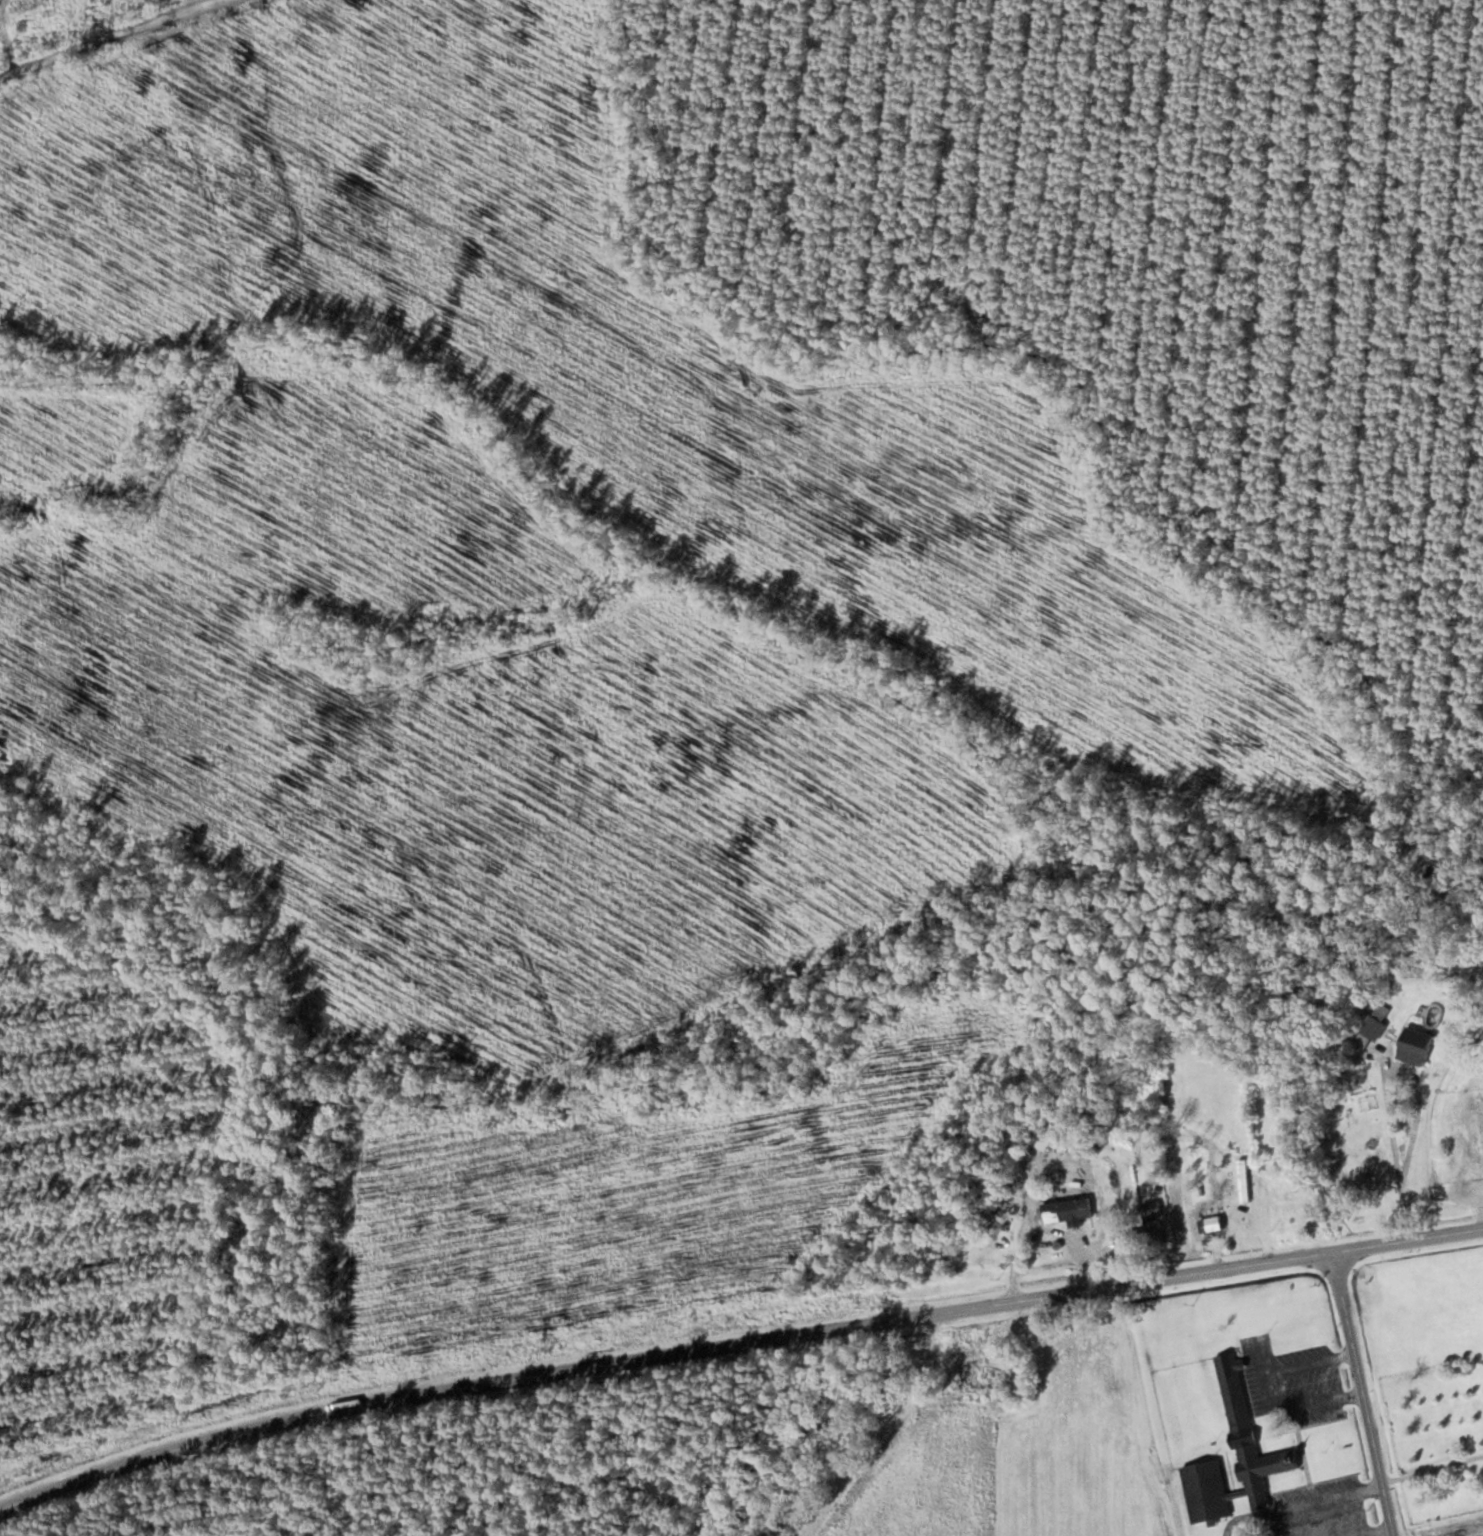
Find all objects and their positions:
road: (113, 39)
building: (1375, 1022)
building: (1415, 1043)
building: (1243, 1180)
building: (1290, 1207)
building: (1066, 1211)
road: (1410, 1216)
building: (1210, 1224)
road: (664, 1356)
road: (1374, 1381)
building: (1243, 1436)

